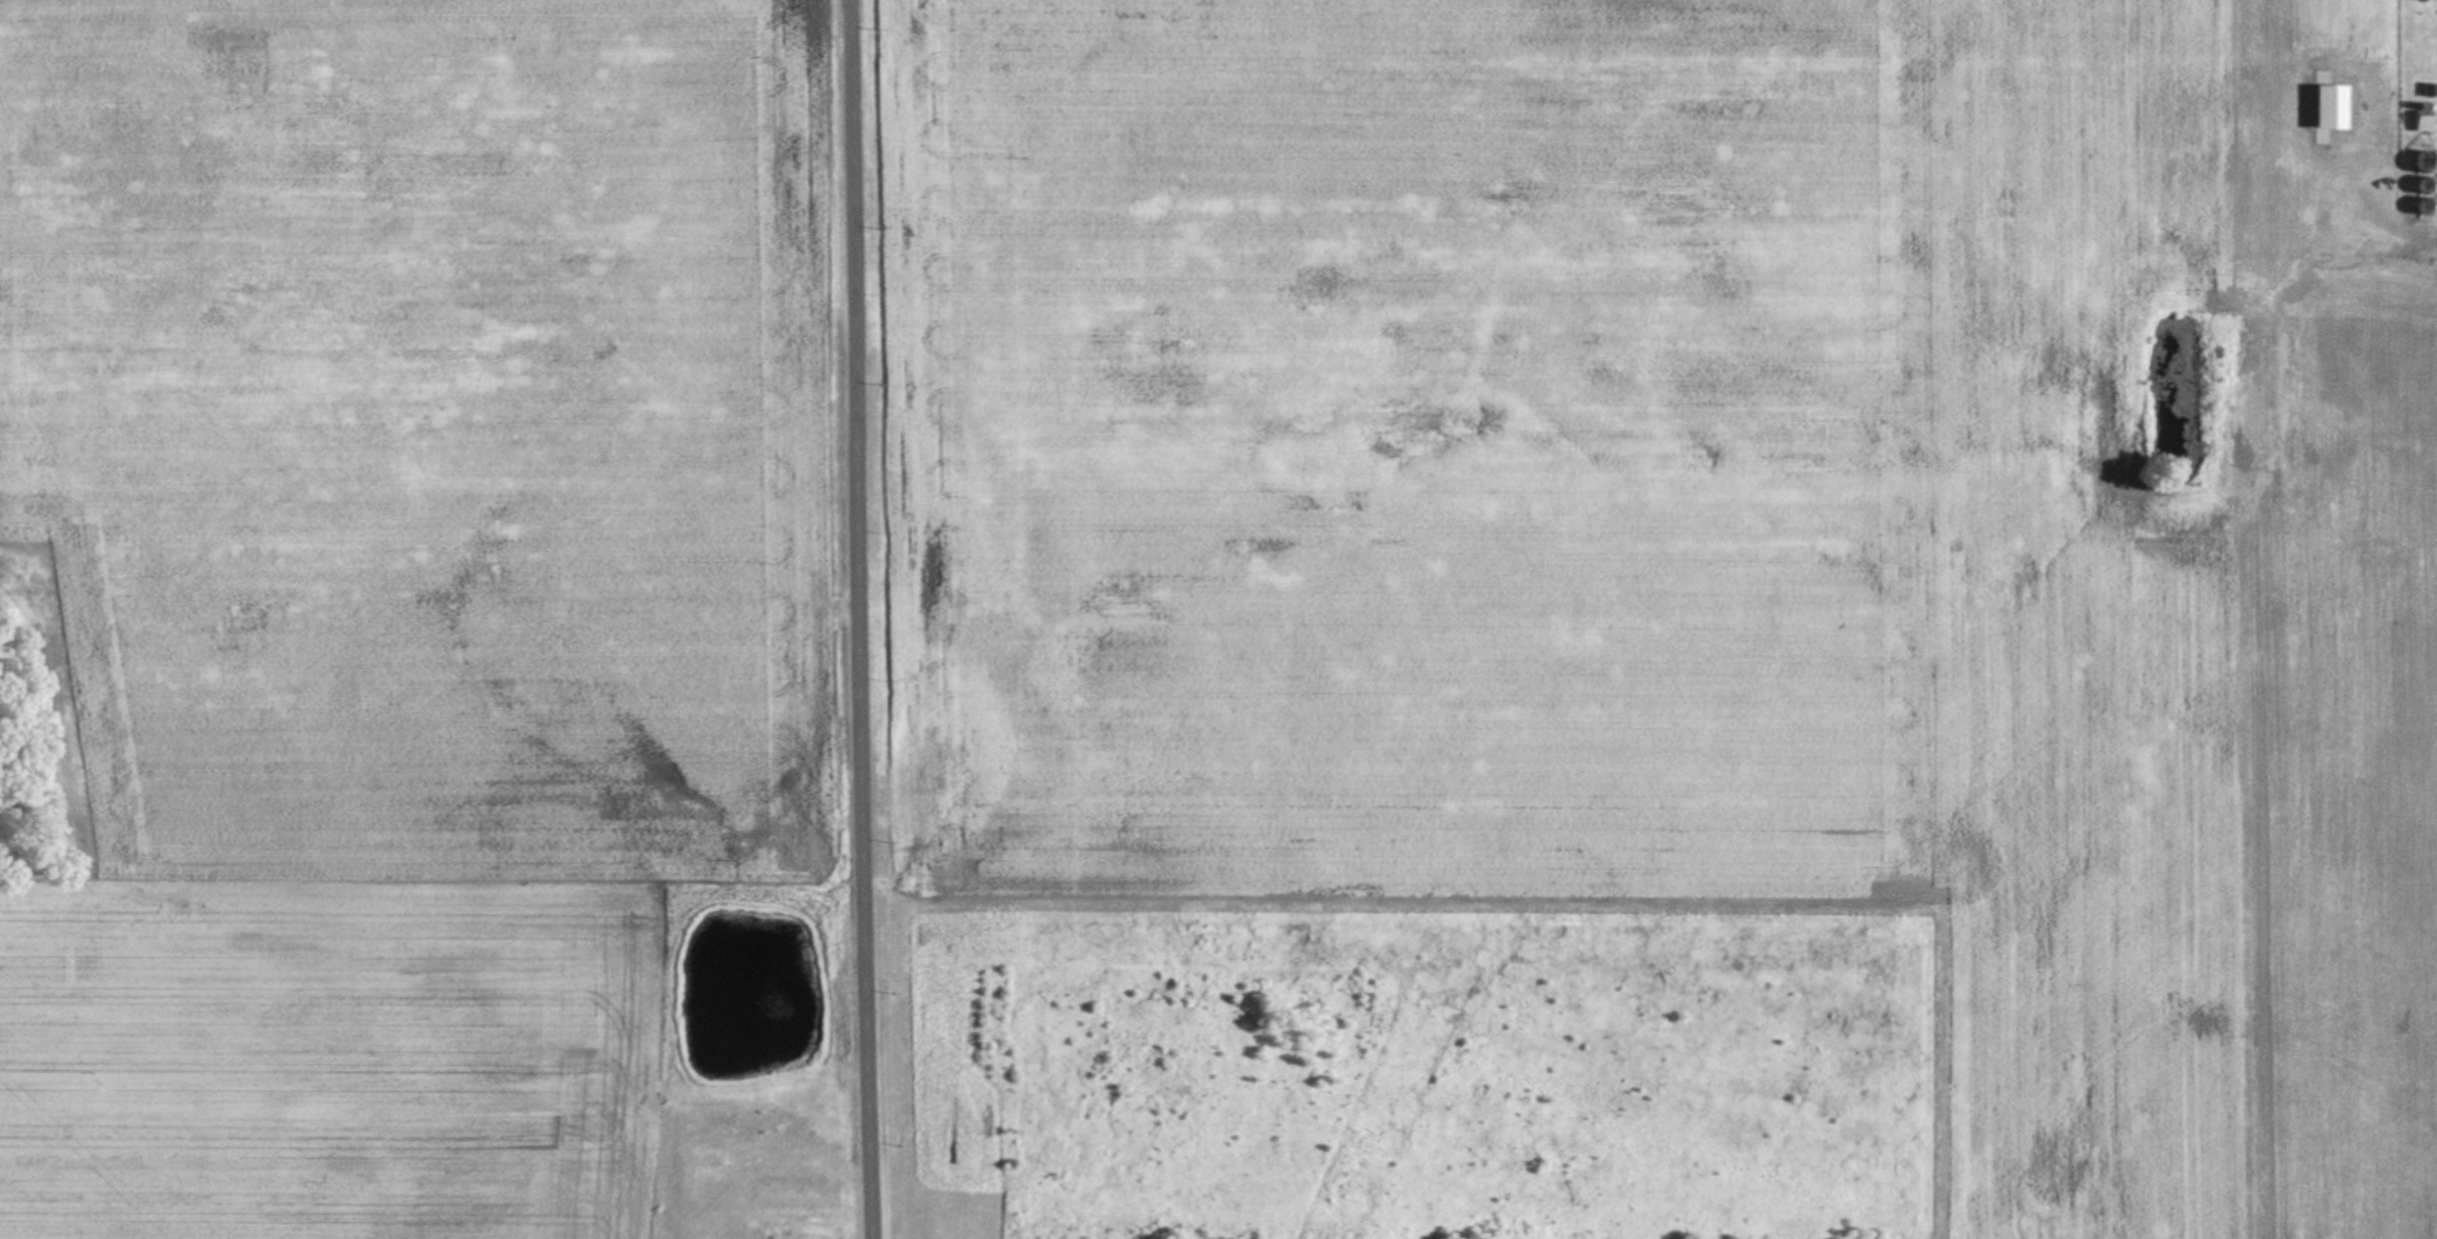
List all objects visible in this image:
building: (2422, 158)
road: (867, 619)
building: (804, 1238)

